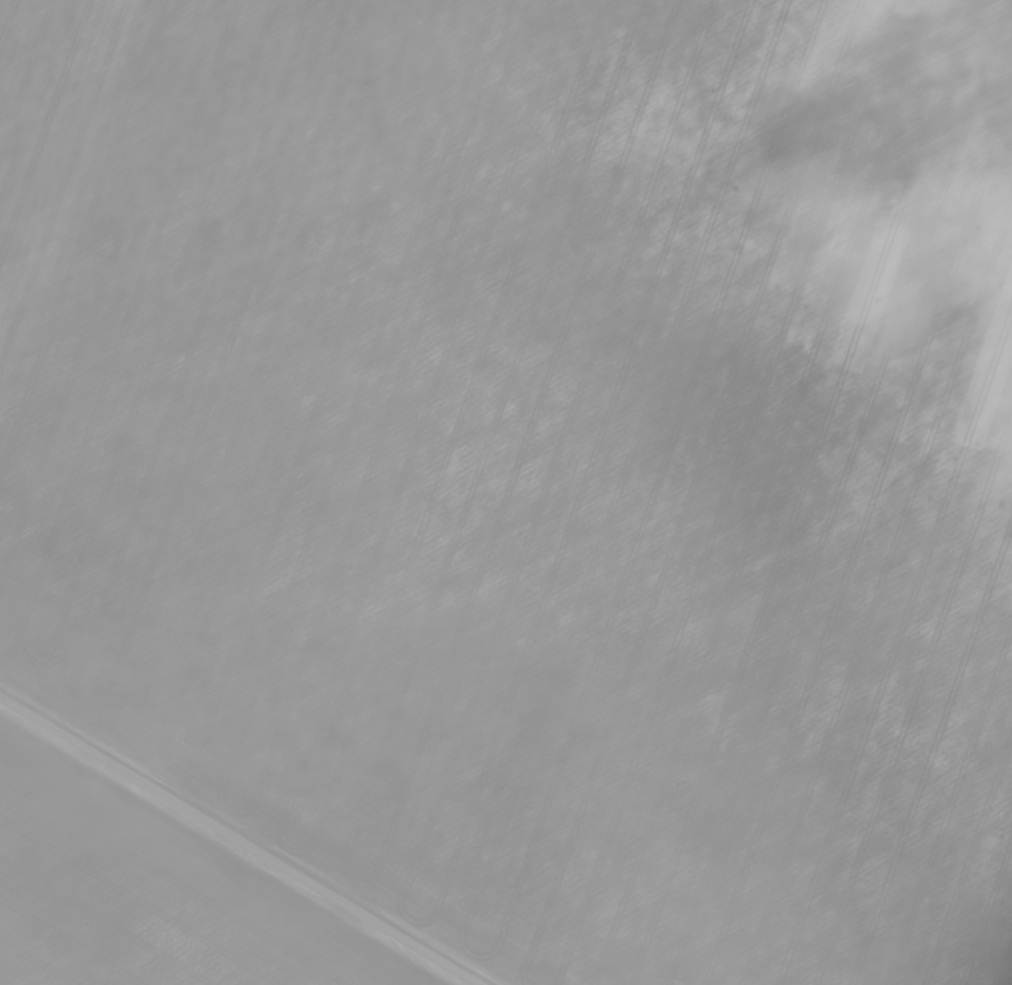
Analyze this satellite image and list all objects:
road: (237, 842)

